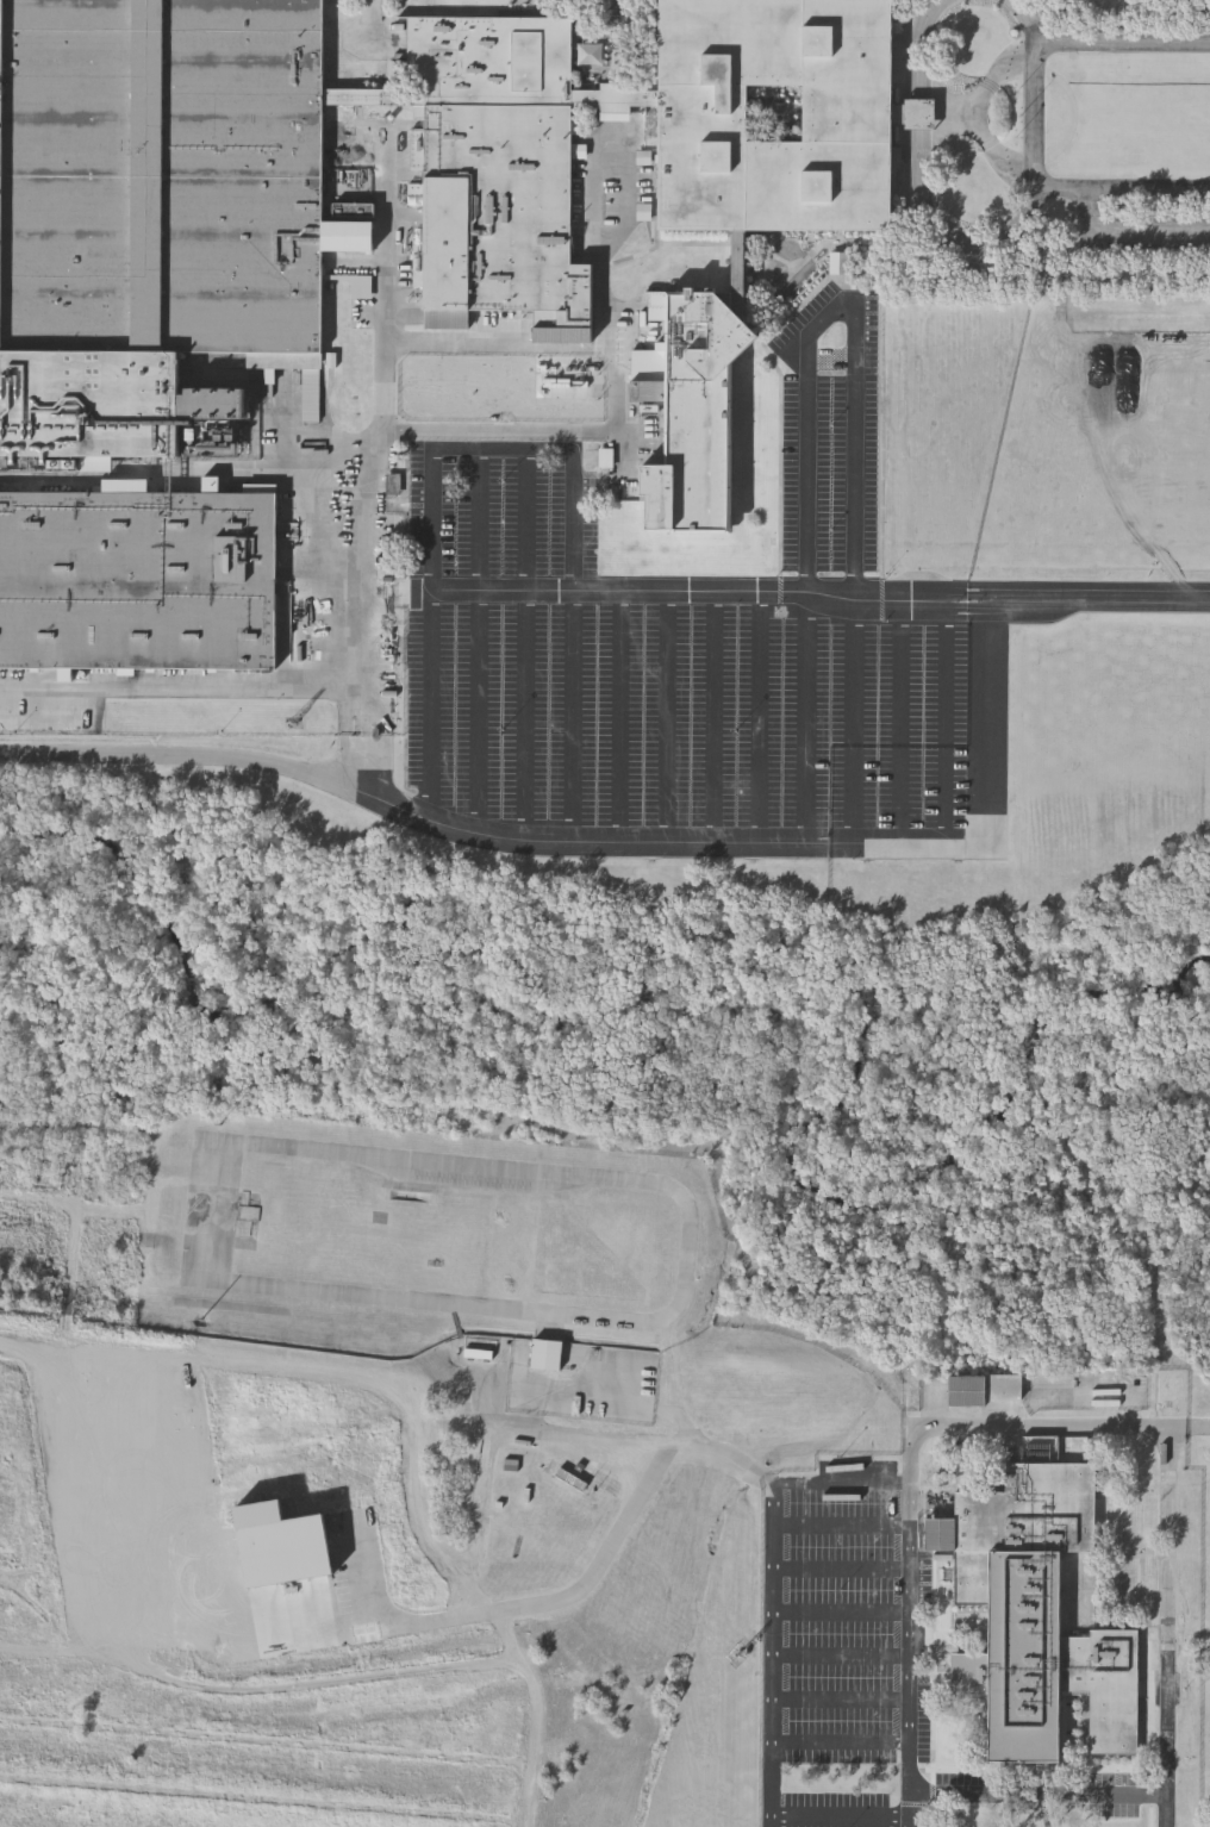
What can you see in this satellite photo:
road: (376, 20)
building: (775, 110)
road: (1037, 114)
building: (360, 212)
road: (1131, 230)
building: (186, 238)
building: (843, 266)
road: (838, 305)
building: (694, 393)
road: (580, 432)
road: (503, 448)
road: (482, 520)
road: (528, 520)
building: (138, 579)
road: (688, 594)
road: (1089, 597)
road: (218, 686)
road: (431, 706)
road: (480, 713)
road: (525, 716)
road: (574, 717)
road: (622, 718)
road: (669, 718)
road: (715, 719)
road: (760, 719)
road: (806, 719)
road: (855, 721)
road: (902, 721)
road: (947, 721)
road: (984, 724)
road: (476, 833)
building: (551, 1357)
building: (985, 1388)
road: (495, 1441)
building: (574, 1480)
road: (909, 1480)
road: (844, 1526)
building: (1186, 1549)
road: (843, 1570)
road: (775, 1590)
road: (843, 1610)
road: (1164, 1610)
building: (1035, 1614)
helipad: (821, 1628)
road: (342, 1636)
road: (843, 1657)
road: (843, 1700)
road: (534, 1715)
road: (842, 1746)
road: (1037, 1796)
road: (1164, 1812)
road: (842, 1816)

